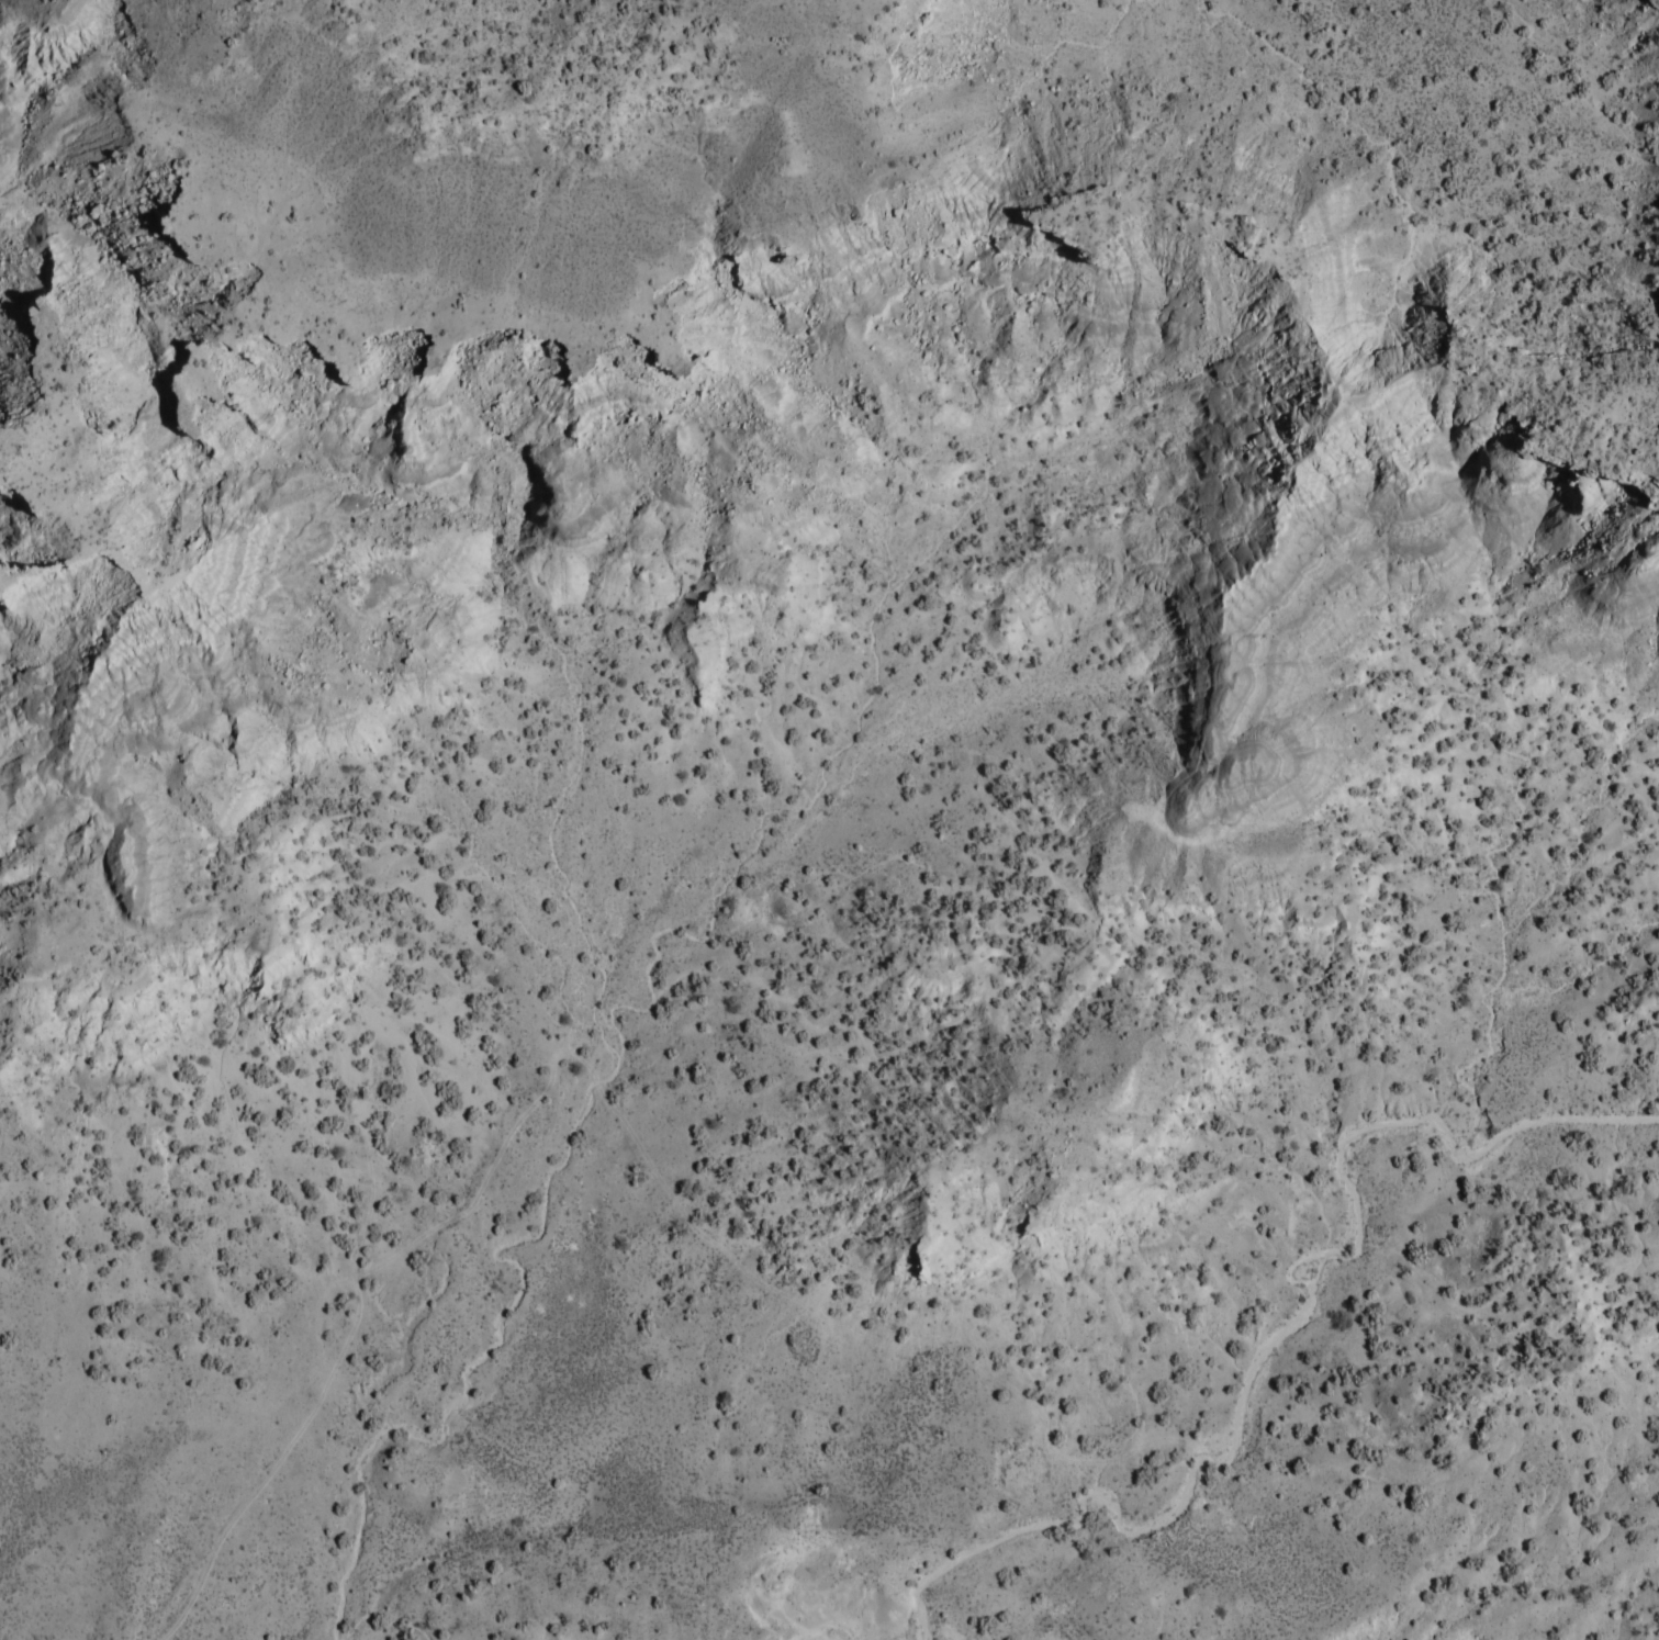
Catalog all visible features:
road: (104, 1401)

